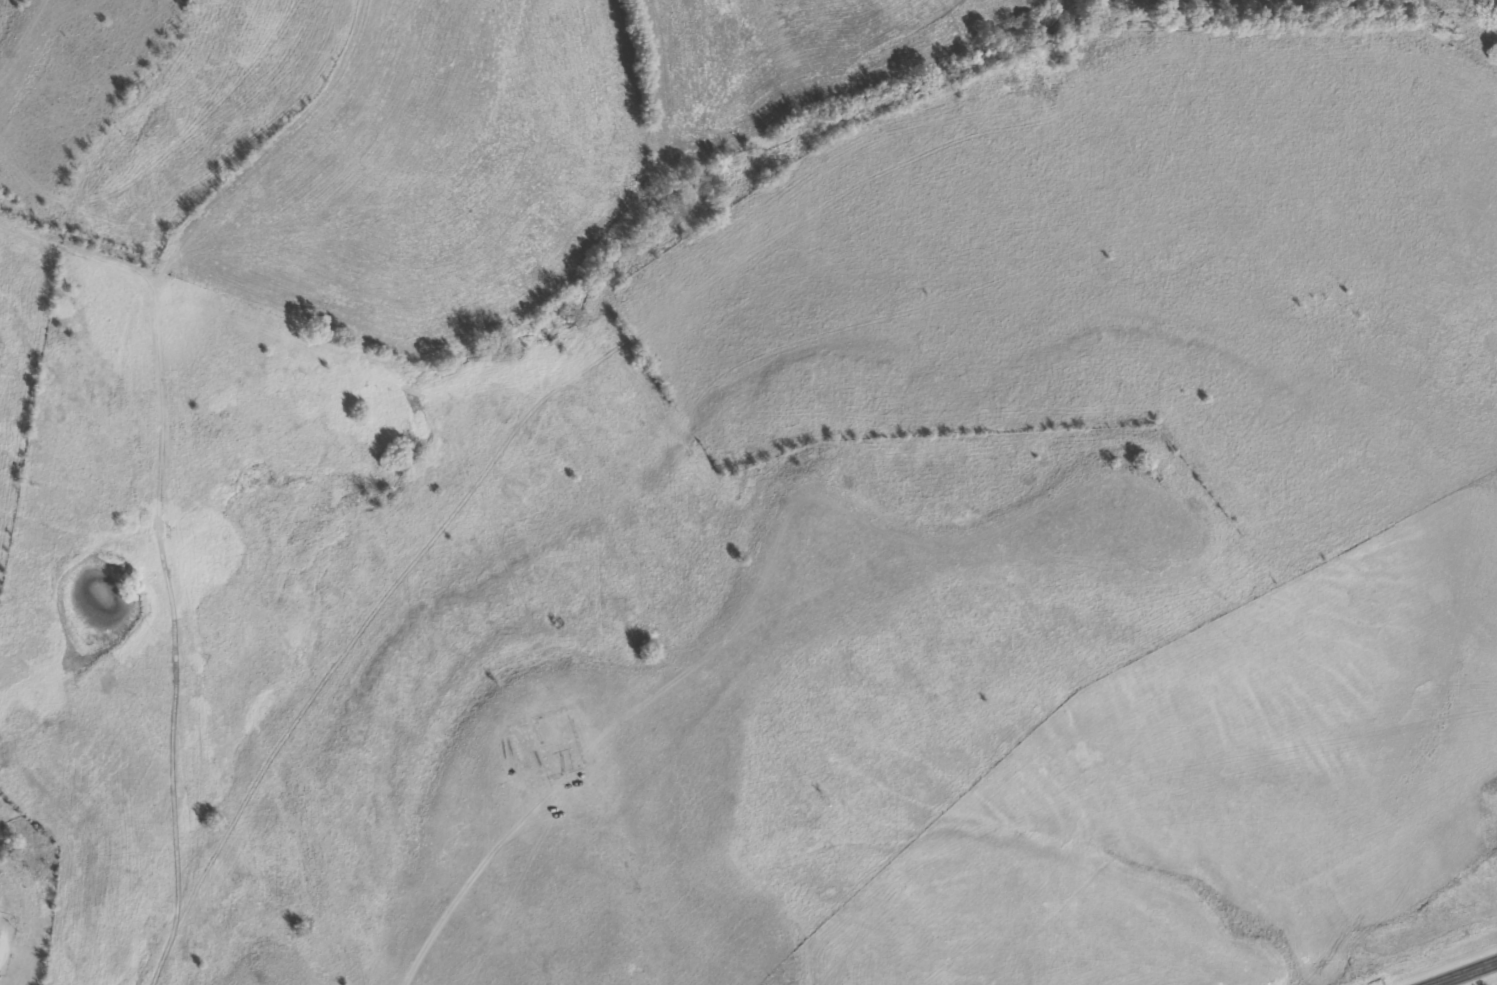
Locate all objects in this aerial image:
road: (1462, 972)

